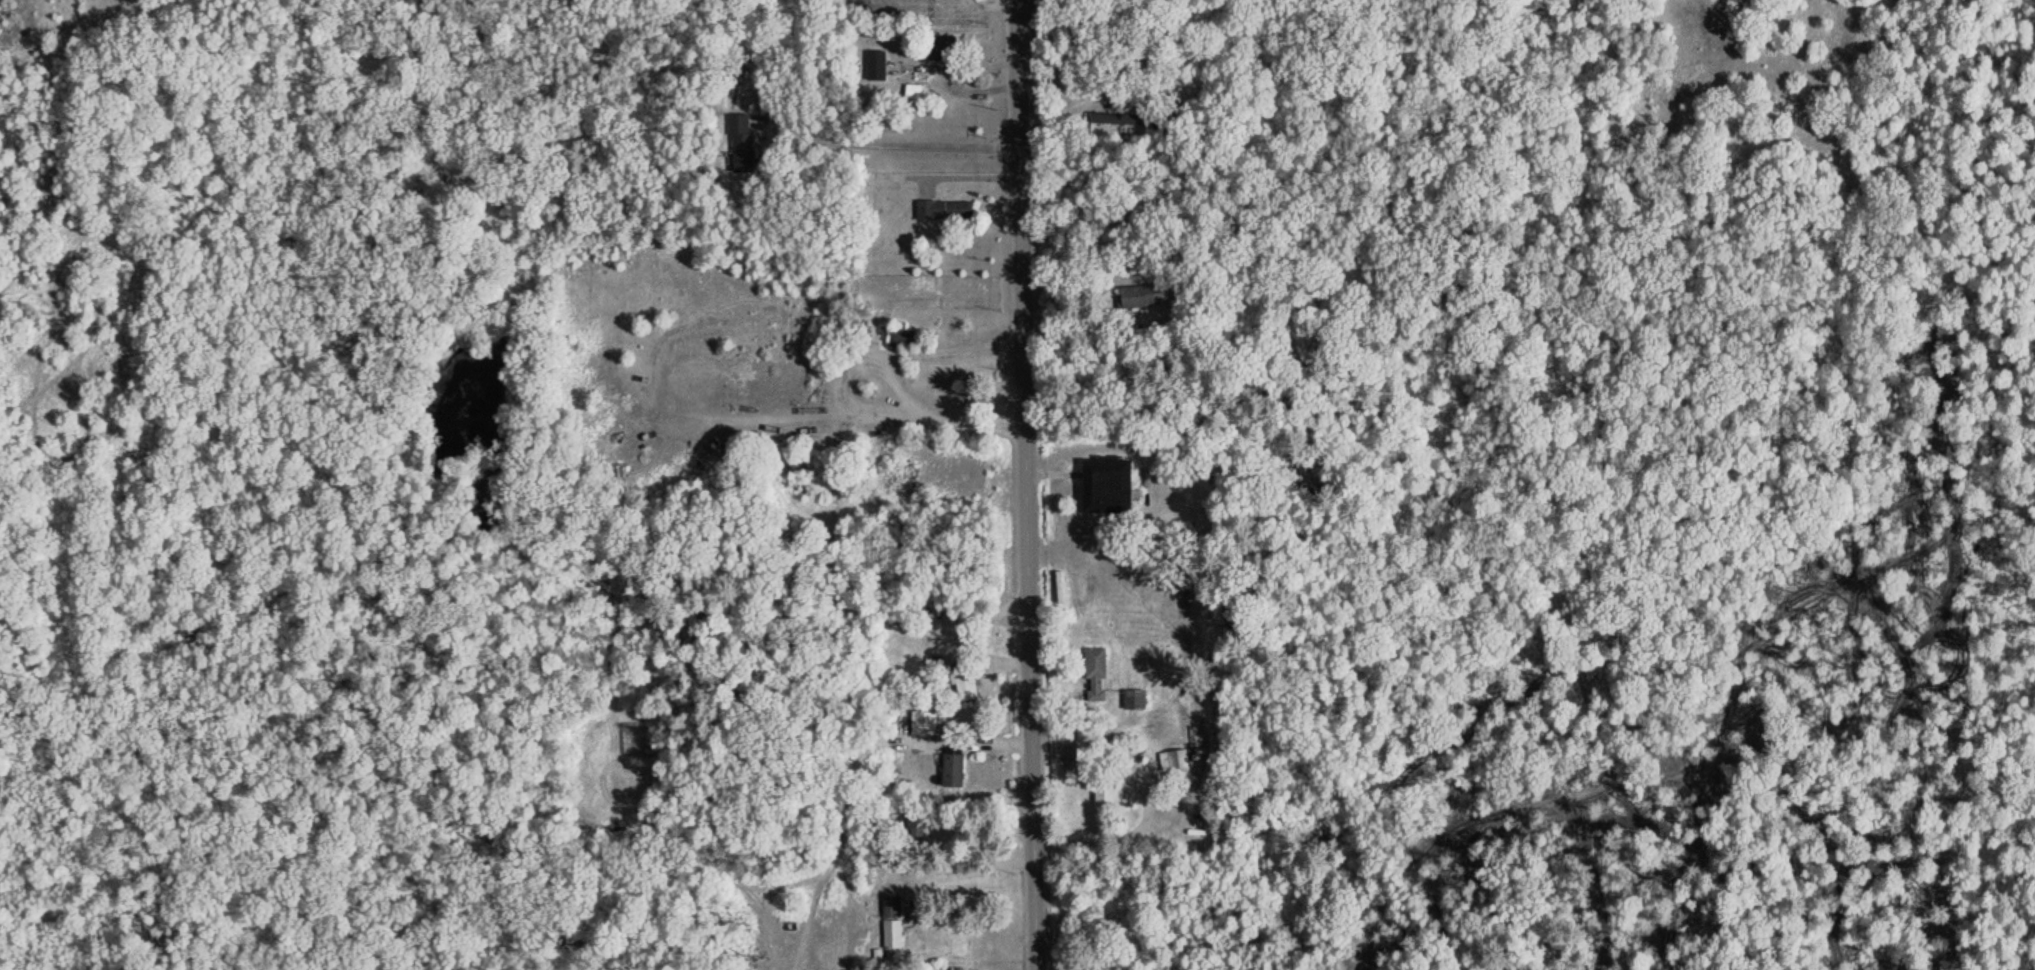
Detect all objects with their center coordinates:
building: (939, 49)
building: (874, 65)
building: (1119, 118)
building: (740, 139)
building: (942, 209)
building: (1147, 296)
building: (862, 330)
building: (894, 332)
building: (798, 456)
road: (1023, 485)
building: (1101, 487)
building: (1094, 674)
building: (961, 682)
building: (1133, 699)
building: (921, 723)
building: (1172, 759)
building: (951, 771)
road: (303, 784)
building: (1101, 789)
building: (891, 922)

